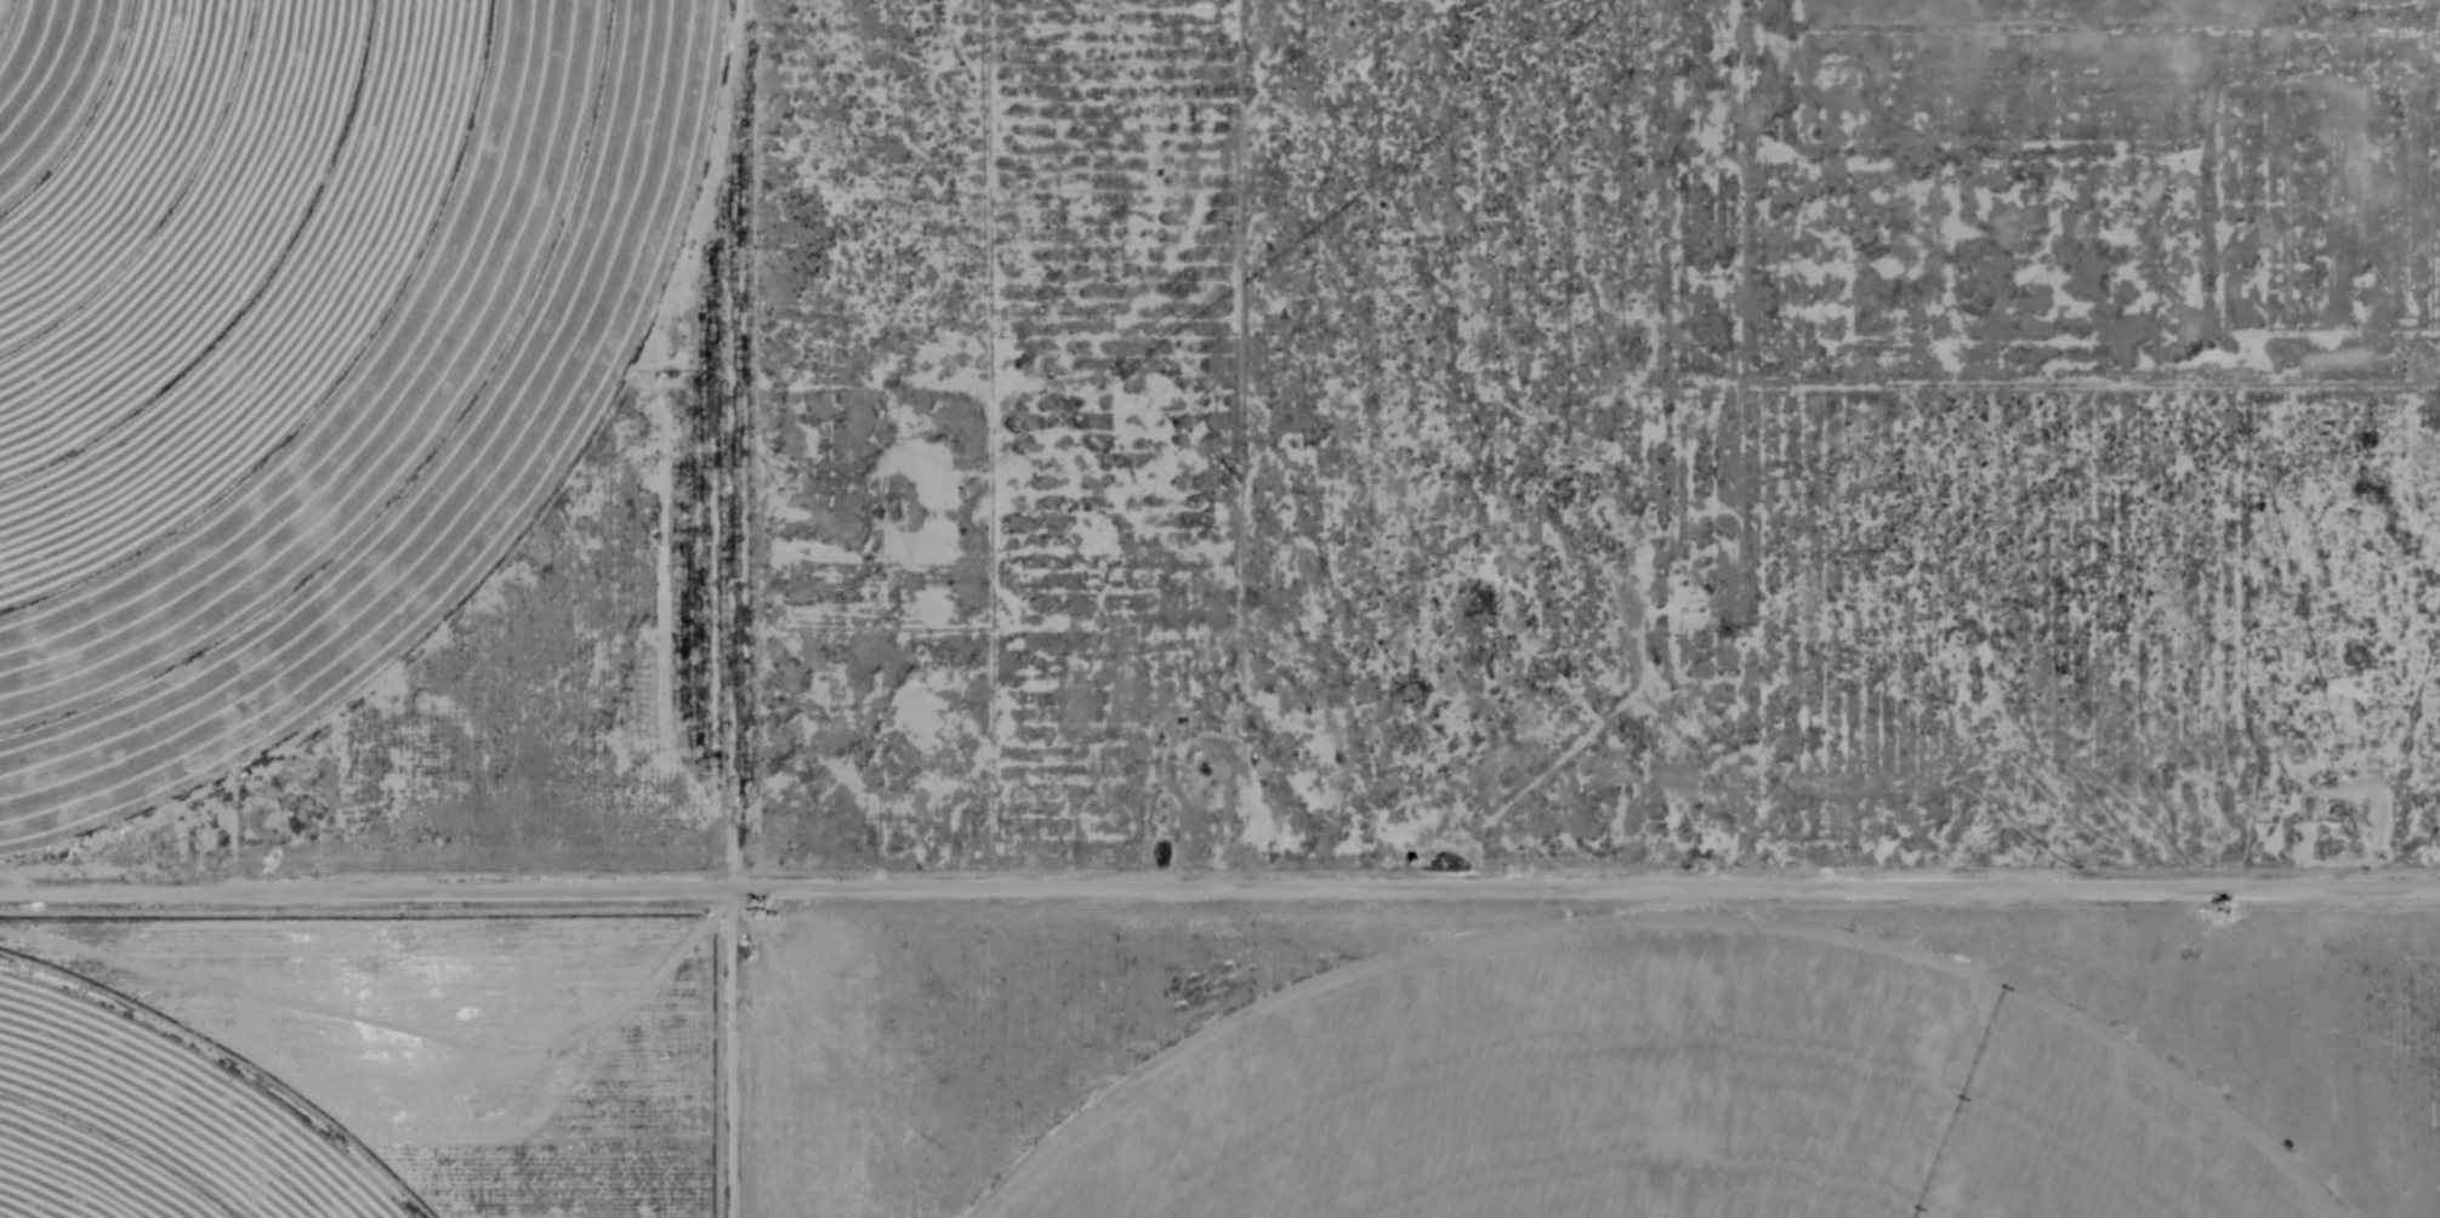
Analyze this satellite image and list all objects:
crop: (295, 341)
road: (1540, 454)
road: (712, 608)
road: (1218, 858)
crop: (1656, 1102)
crop: (152, 1126)

